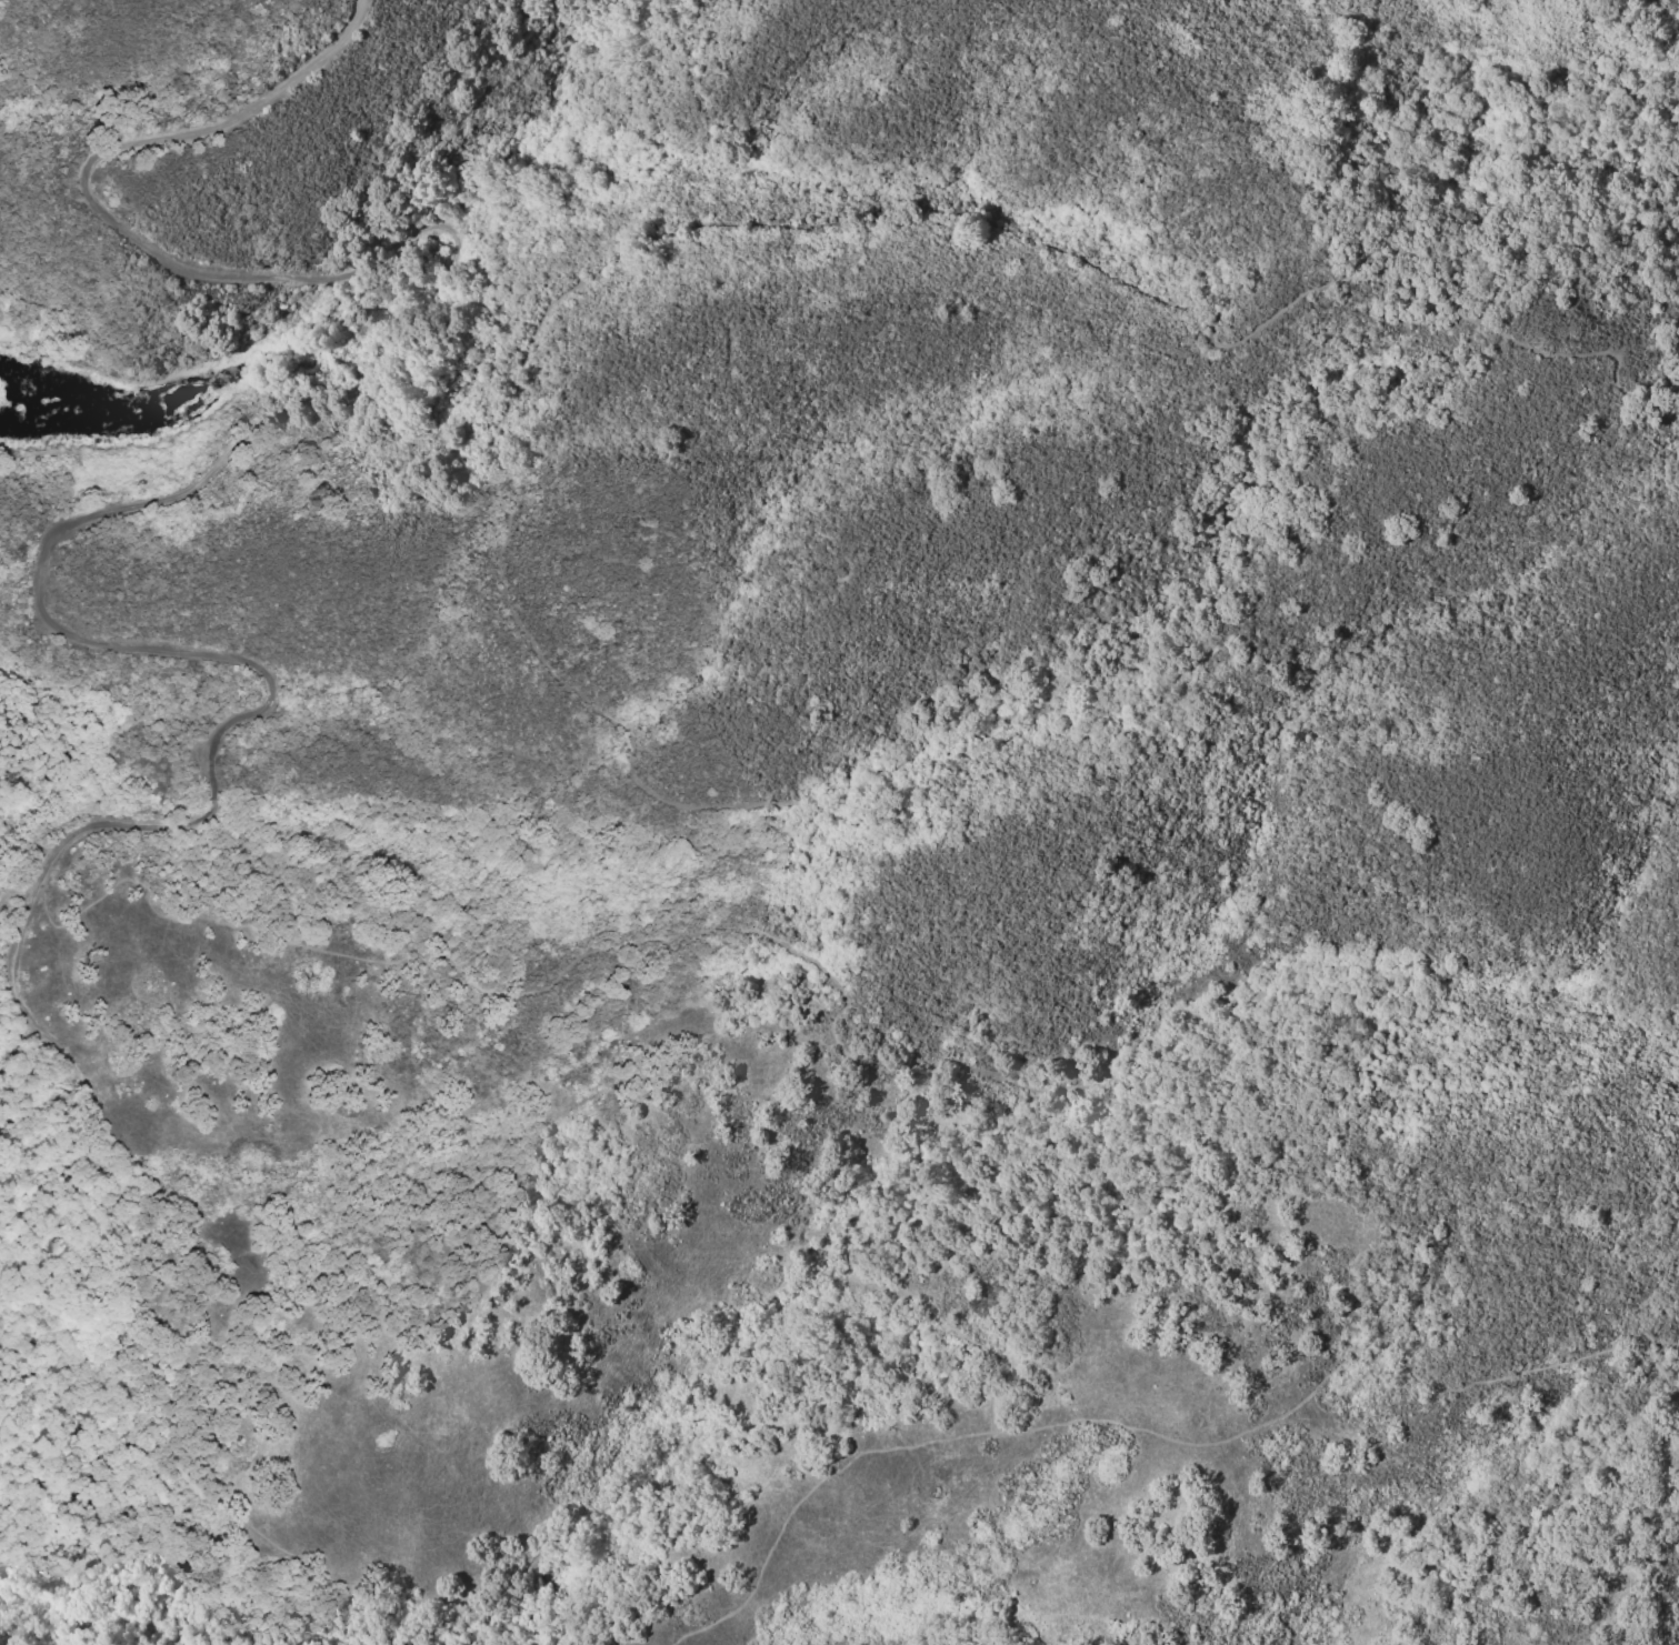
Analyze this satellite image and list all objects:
road: (139, 348)
road: (488, 454)
road: (231, 461)
road: (17, 1049)
road: (1158, 1435)
road: (231, 1513)

